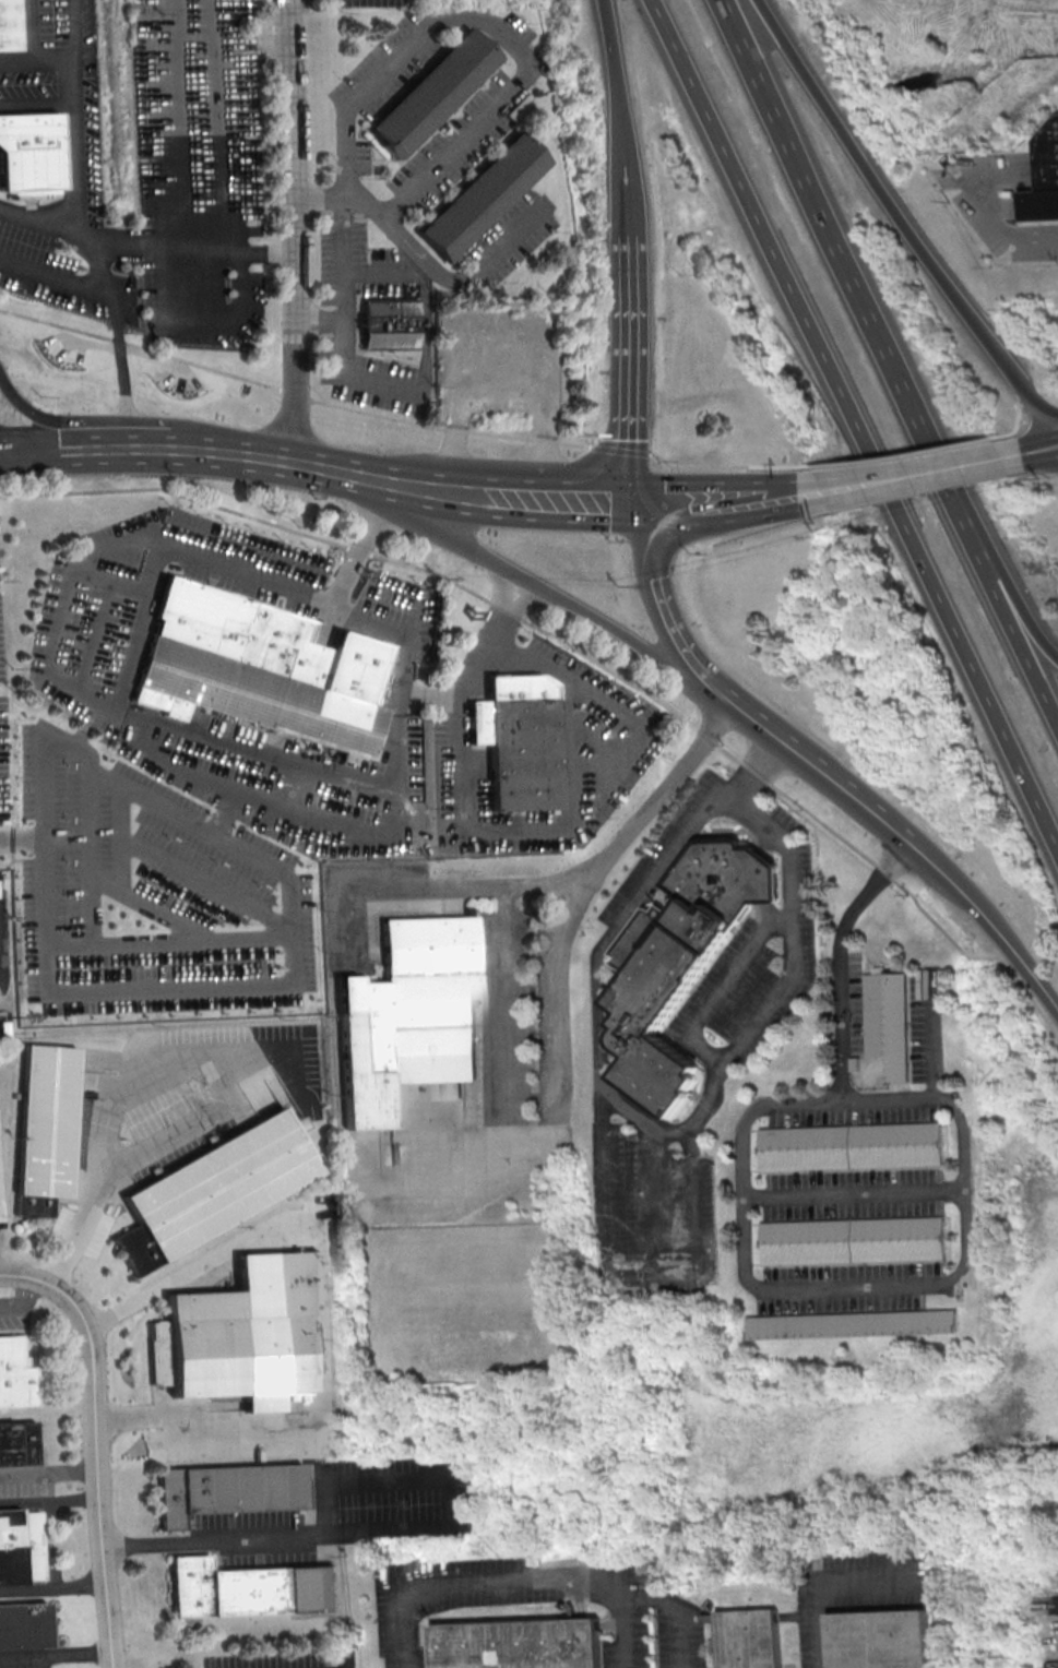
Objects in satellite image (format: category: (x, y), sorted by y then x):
parking lot: (364, 2)
road: (190, 8)
building: (9, 26)
road: (490, 27)
road: (261, 43)
road: (40, 58)
parking lot: (60, 90)
road: (360, 91)
building: (430, 94)
parking lot: (487, 110)
road: (73, 115)
road: (617, 116)
road: (454, 141)
building: (31, 160)
road: (195, 163)
parking lot: (197, 171)
building: (1045, 180)
road: (345, 186)
building: (479, 199)
parking lot: (999, 202)
road: (986, 203)
road: (337, 206)
road: (388, 207)
road: (902, 215)
road: (294, 230)
road: (390, 230)
parking lot: (509, 236)
road: (510, 237)
road: (191, 254)
road: (847, 261)
parking lot: (61, 275)
road: (55, 276)
road: (104, 281)
road: (420, 295)
road: (201, 318)
road: (317, 320)
parking lot: (342, 320)
building: (388, 324)
road: (340, 333)
road: (628, 368)
road: (292, 394)
road: (1024, 398)
traffic signals: (82, 419)
road: (116, 419)
road: (855, 428)
road: (929, 445)
road: (618, 448)
road: (92, 450)
road: (213, 450)
road: (1018, 452)
road: (270, 455)
road: (745, 465)
road: (917, 473)
road: (360, 474)
road: (822, 490)
road: (528, 498)
road: (711, 500)
traffic signals: (634, 502)
road: (515, 572)
road: (655, 579)
road: (127, 585)
road: (1011, 593)
road: (1012, 619)
road: (122, 650)
road: (586, 657)
road: (486, 664)
building: (260, 670)
road: (710, 672)
road: (119, 716)
road: (404, 731)
building: (521, 742)
road: (171, 763)
road: (827, 775)
road: (747, 808)
road: (566, 827)
road: (22, 836)
parking lot: (662, 848)
road: (90, 851)
road: (120, 853)
road: (206, 884)
road: (465, 885)
road: (640, 896)
road: (170, 914)
road: (780, 918)
road: (293, 927)
road: (996, 928)
road: (790, 936)
road: (170, 942)
parking lot: (758, 962)
building: (683, 963)
road: (726, 977)
road: (559, 981)
road: (839, 999)
parking lot: (847, 1002)
parking lot: (925, 1022)
building: (412, 1023)
road: (504, 1024)
building: (889, 1024)
road: (934, 1034)
road: (700, 1050)
road: (889, 1099)
road: (710, 1100)
parking lot: (848, 1108)
road: (205, 1116)
road: (643, 1121)
building: (46, 1128)
road: (653, 1135)
building: (848, 1145)
road: (963, 1186)
road: (955, 1189)
building: (213, 1191)
parking lot: (855, 1193)
road: (856, 1193)
road: (742, 1194)
road: (753, 1196)
road: (606, 1198)
road: (654, 1210)
parking lot: (653, 1214)
road: (697, 1215)
building: (857, 1240)
road: (654, 1277)
road: (853, 1284)
parking lot: (848, 1288)
road: (21, 1301)
road: (325, 1307)
building: (855, 1325)
building: (247, 1333)
building: (13, 1375)
road: (94, 1444)
building: (16, 1445)
road: (48, 1473)
building: (227, 1492)
road: (49, 1498)
road: (450, 1504)
road: (252, 1540)
building: (20, 1548)
road: (514, 1583)
road: (827, 1584)
road: (52, 1586)
building: (251, 1590)
road: (679, 1608)
building: (23, 1627)
building: (757, 1639)
building: (885, 1640)
building: (520, 1645)
road: (55, 1652)

